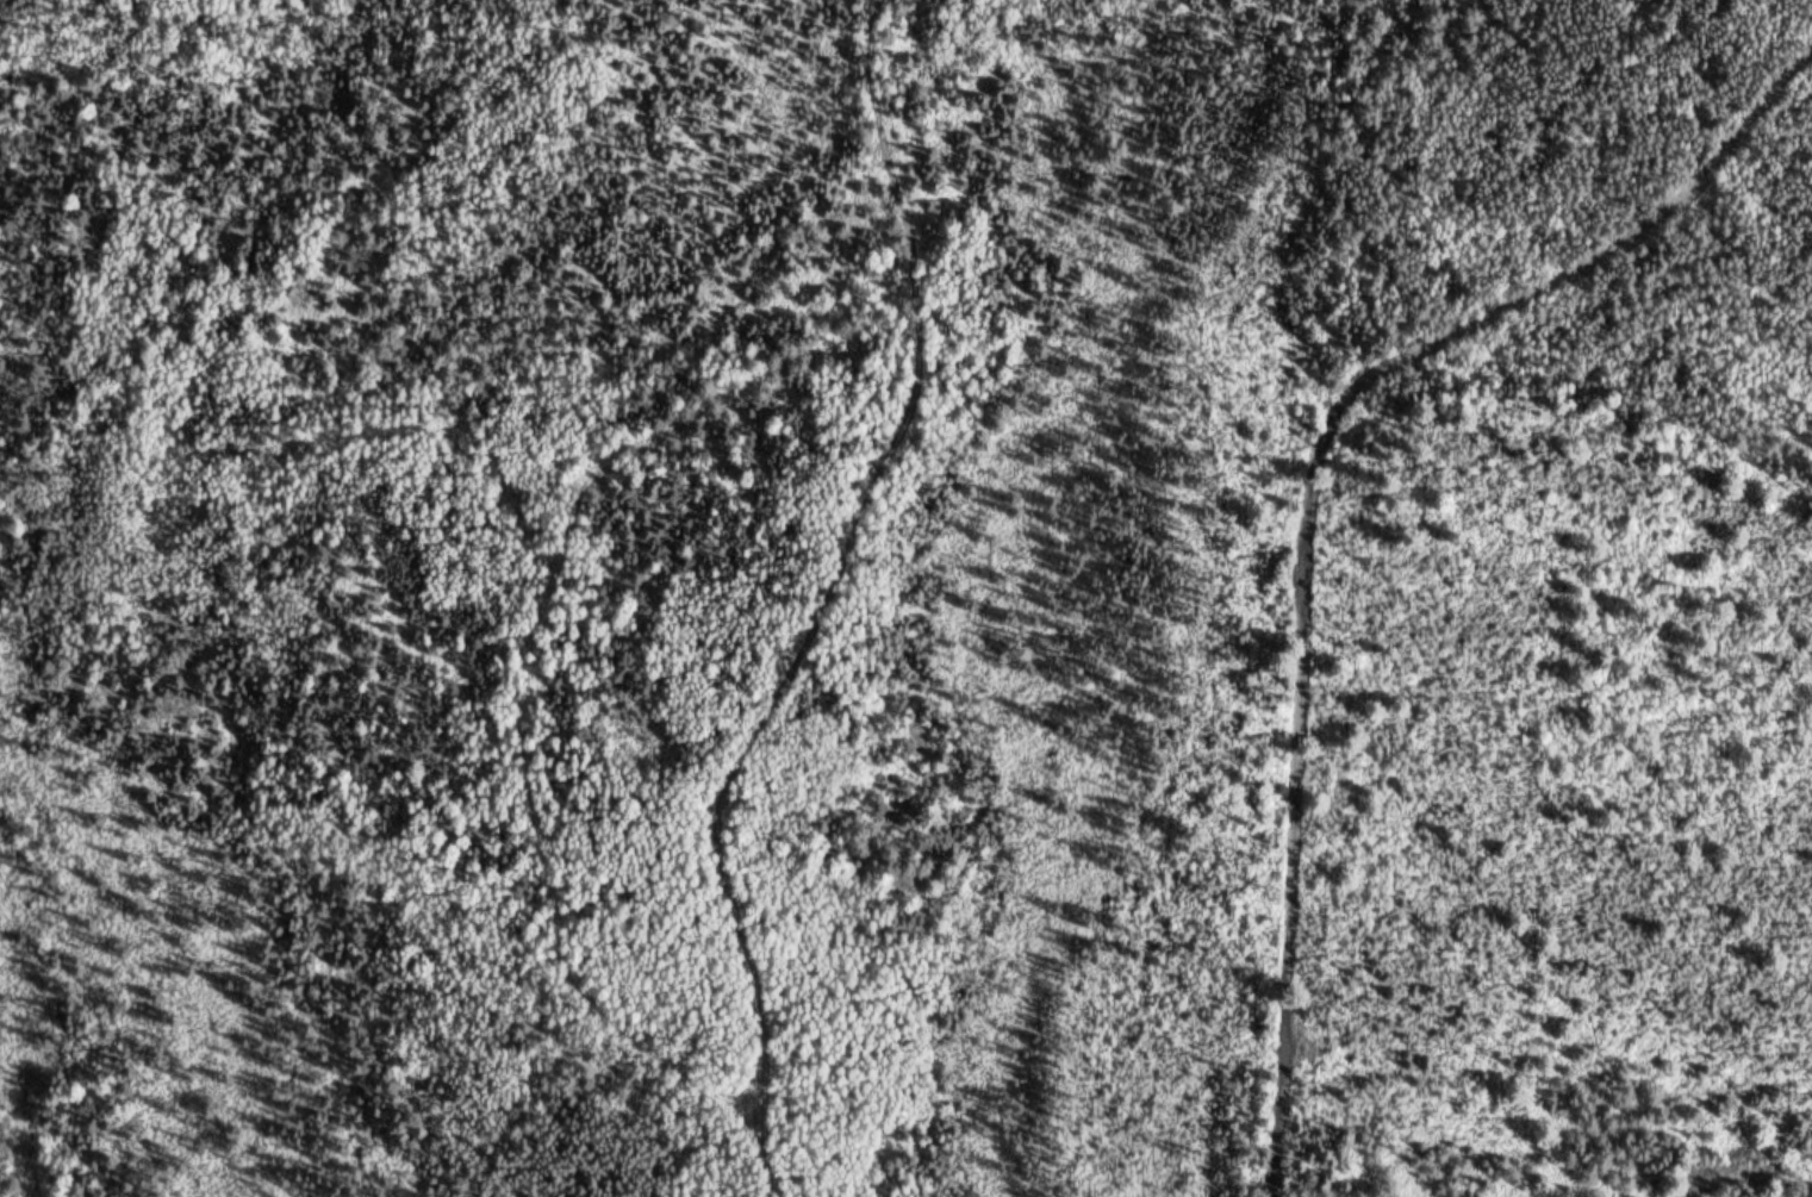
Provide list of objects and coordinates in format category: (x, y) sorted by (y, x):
road: (1310, 497)
road: (824, 599)

